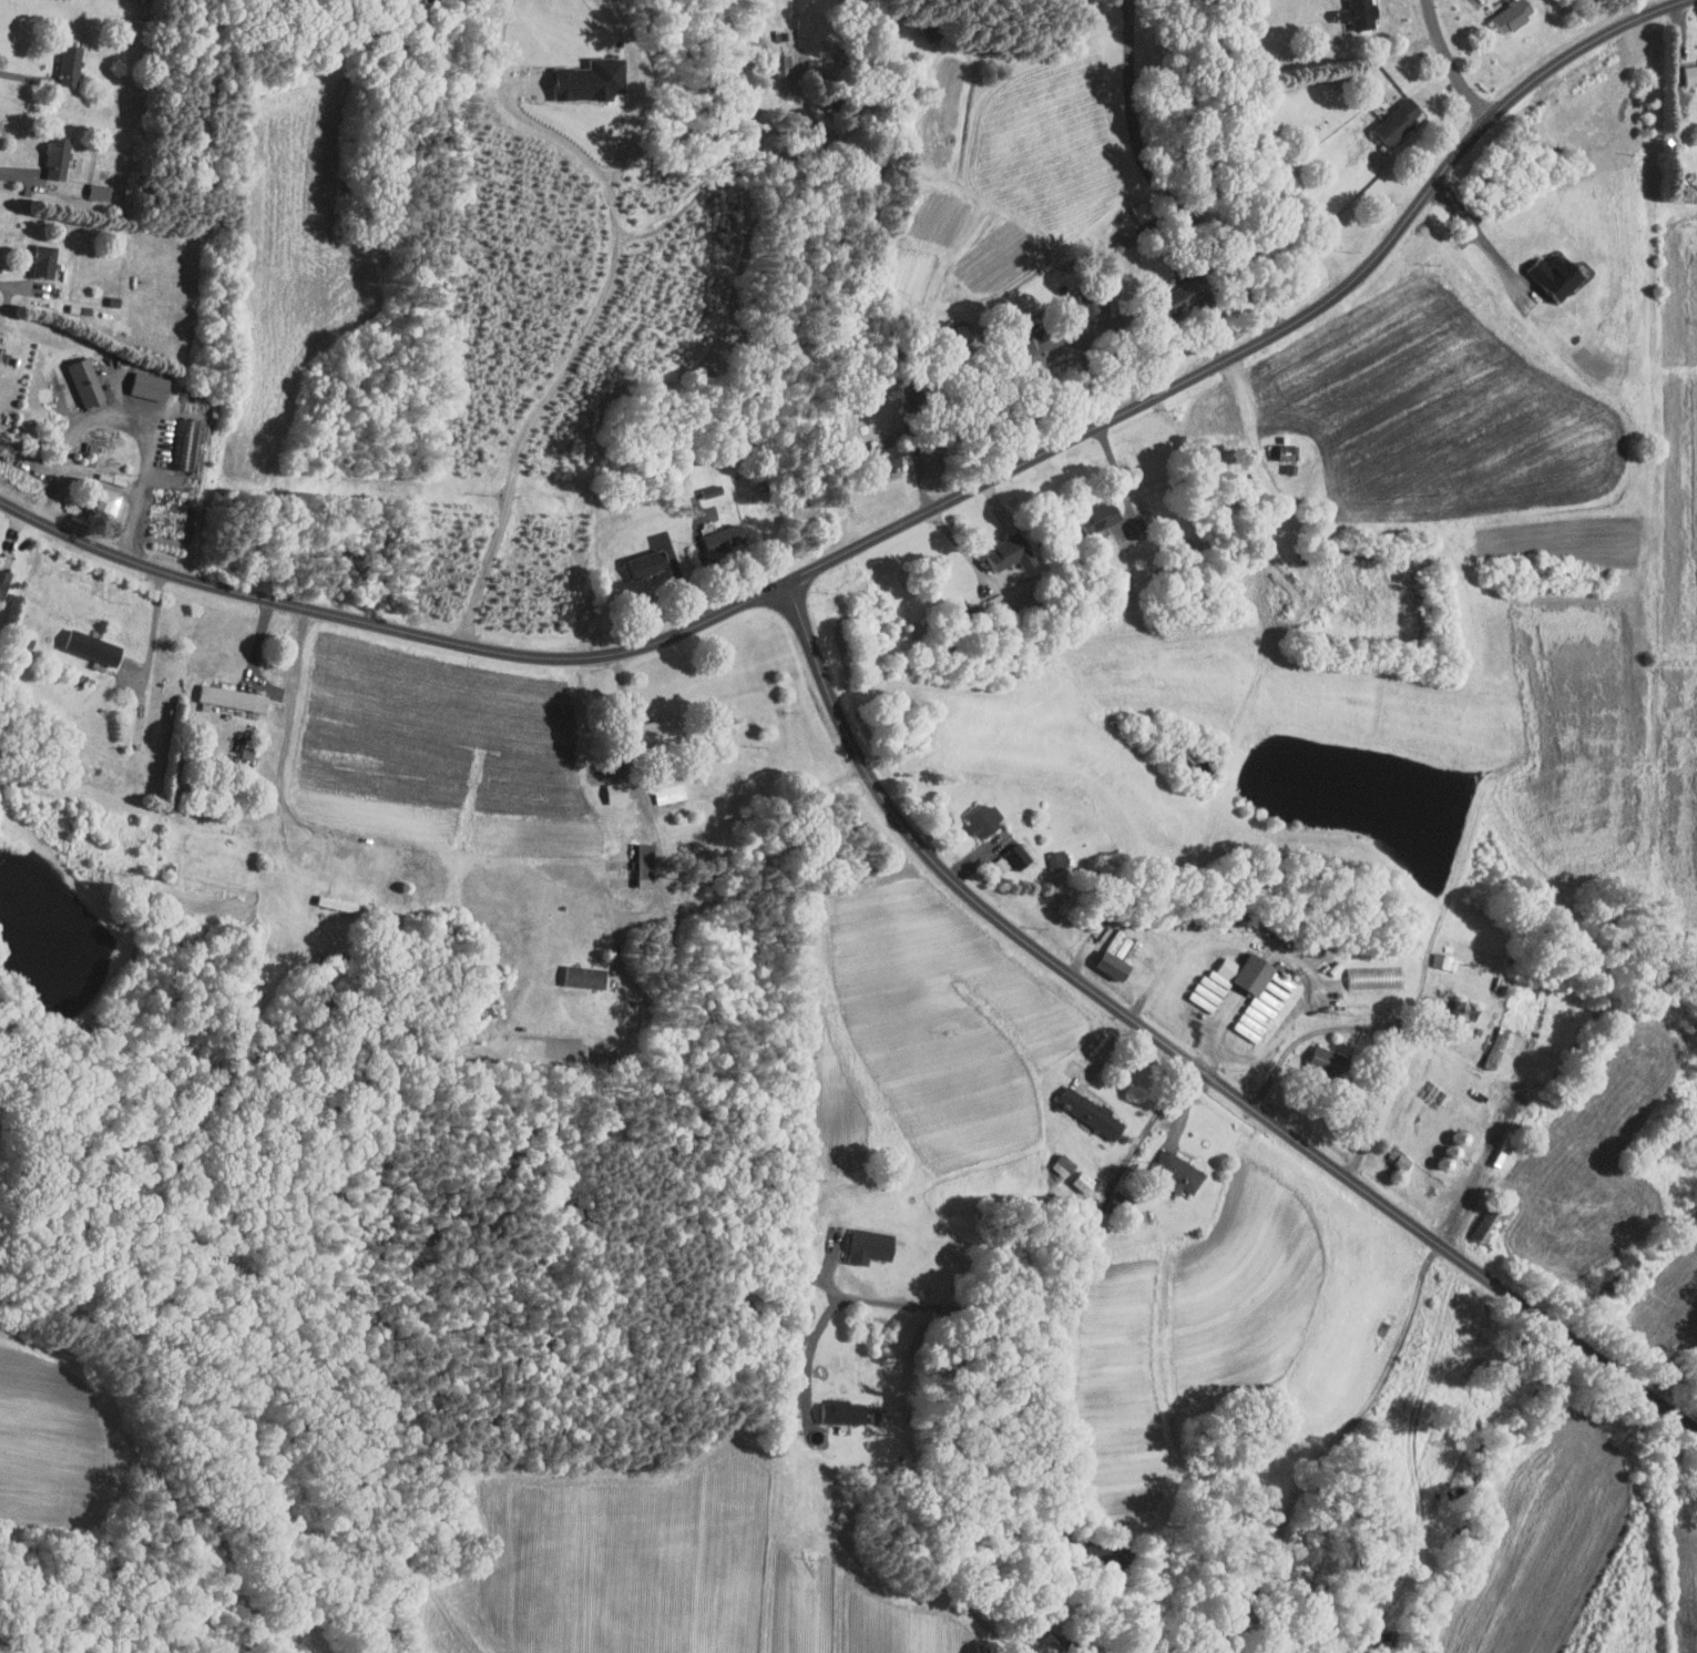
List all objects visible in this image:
building: (1360, 13)
building: (1513, 14)
building: (60, 57)
road: (1450, 62)
building: (783, 64)
building: (1691, 74)
road: (25, 76)
building: (592, 78)
building: (1400, 121)
building: (49, 150)
road: (778, 153)
road: (18, 177)
road: (1158, 183)
building: (90, 184)
road: (1476, 237)
building: (34, 254)
road: (23, 286)
building: (1105, 302)
building: (1188, 304)
building: (961, 333)
road: (586, 337)
building: (1045, 344)
building: (76, 376)
building: (140, 378)
road: (130, 410)
building: (185, 442)
building: (1284, 451)
building: (888, 457)
road: (103, 477)
building: (713, 491)
building: (94, 497)
building: (1102, 514)
road: (902, 523)
building: (718, 534)
building: (1010, 553)
building: (648, 562)
building: (0, 568)
road: (155, 629)
building: (83, 640)
building: (234, 697)
building: (657, 729)
road: (286, 741)
road: (641, 783)
building: (671, 789)
building: (617, 792)
building: (985, 818)
building: (1019, 856)
building: (646, 865)
road: (749, 877)
building: (1125, 946)
road: (1285, 955)
building: (1446, 960)
building: (1114, 965)
building: (586, 977)
building: (1376, 977)
building: (1269, 996)
building: (1466, 1010)
road: (1389, 1024)
road: (1218, 1026)
building: (1499, 1047)
road: (1184, 1054)
building: (1328, 1061)
building: (1092, 1112)
building: (1065, 1165)
building: (1179, 1172)
road: (1476, 1172)
building: (1084, 1182)
building: (1123, 1202)
building: (1493, 1224)
building: (872, 1244)
road: (1078, 1276)
road: (810, 1355)
building: (844, 1412)
road: (1316, 1461)

